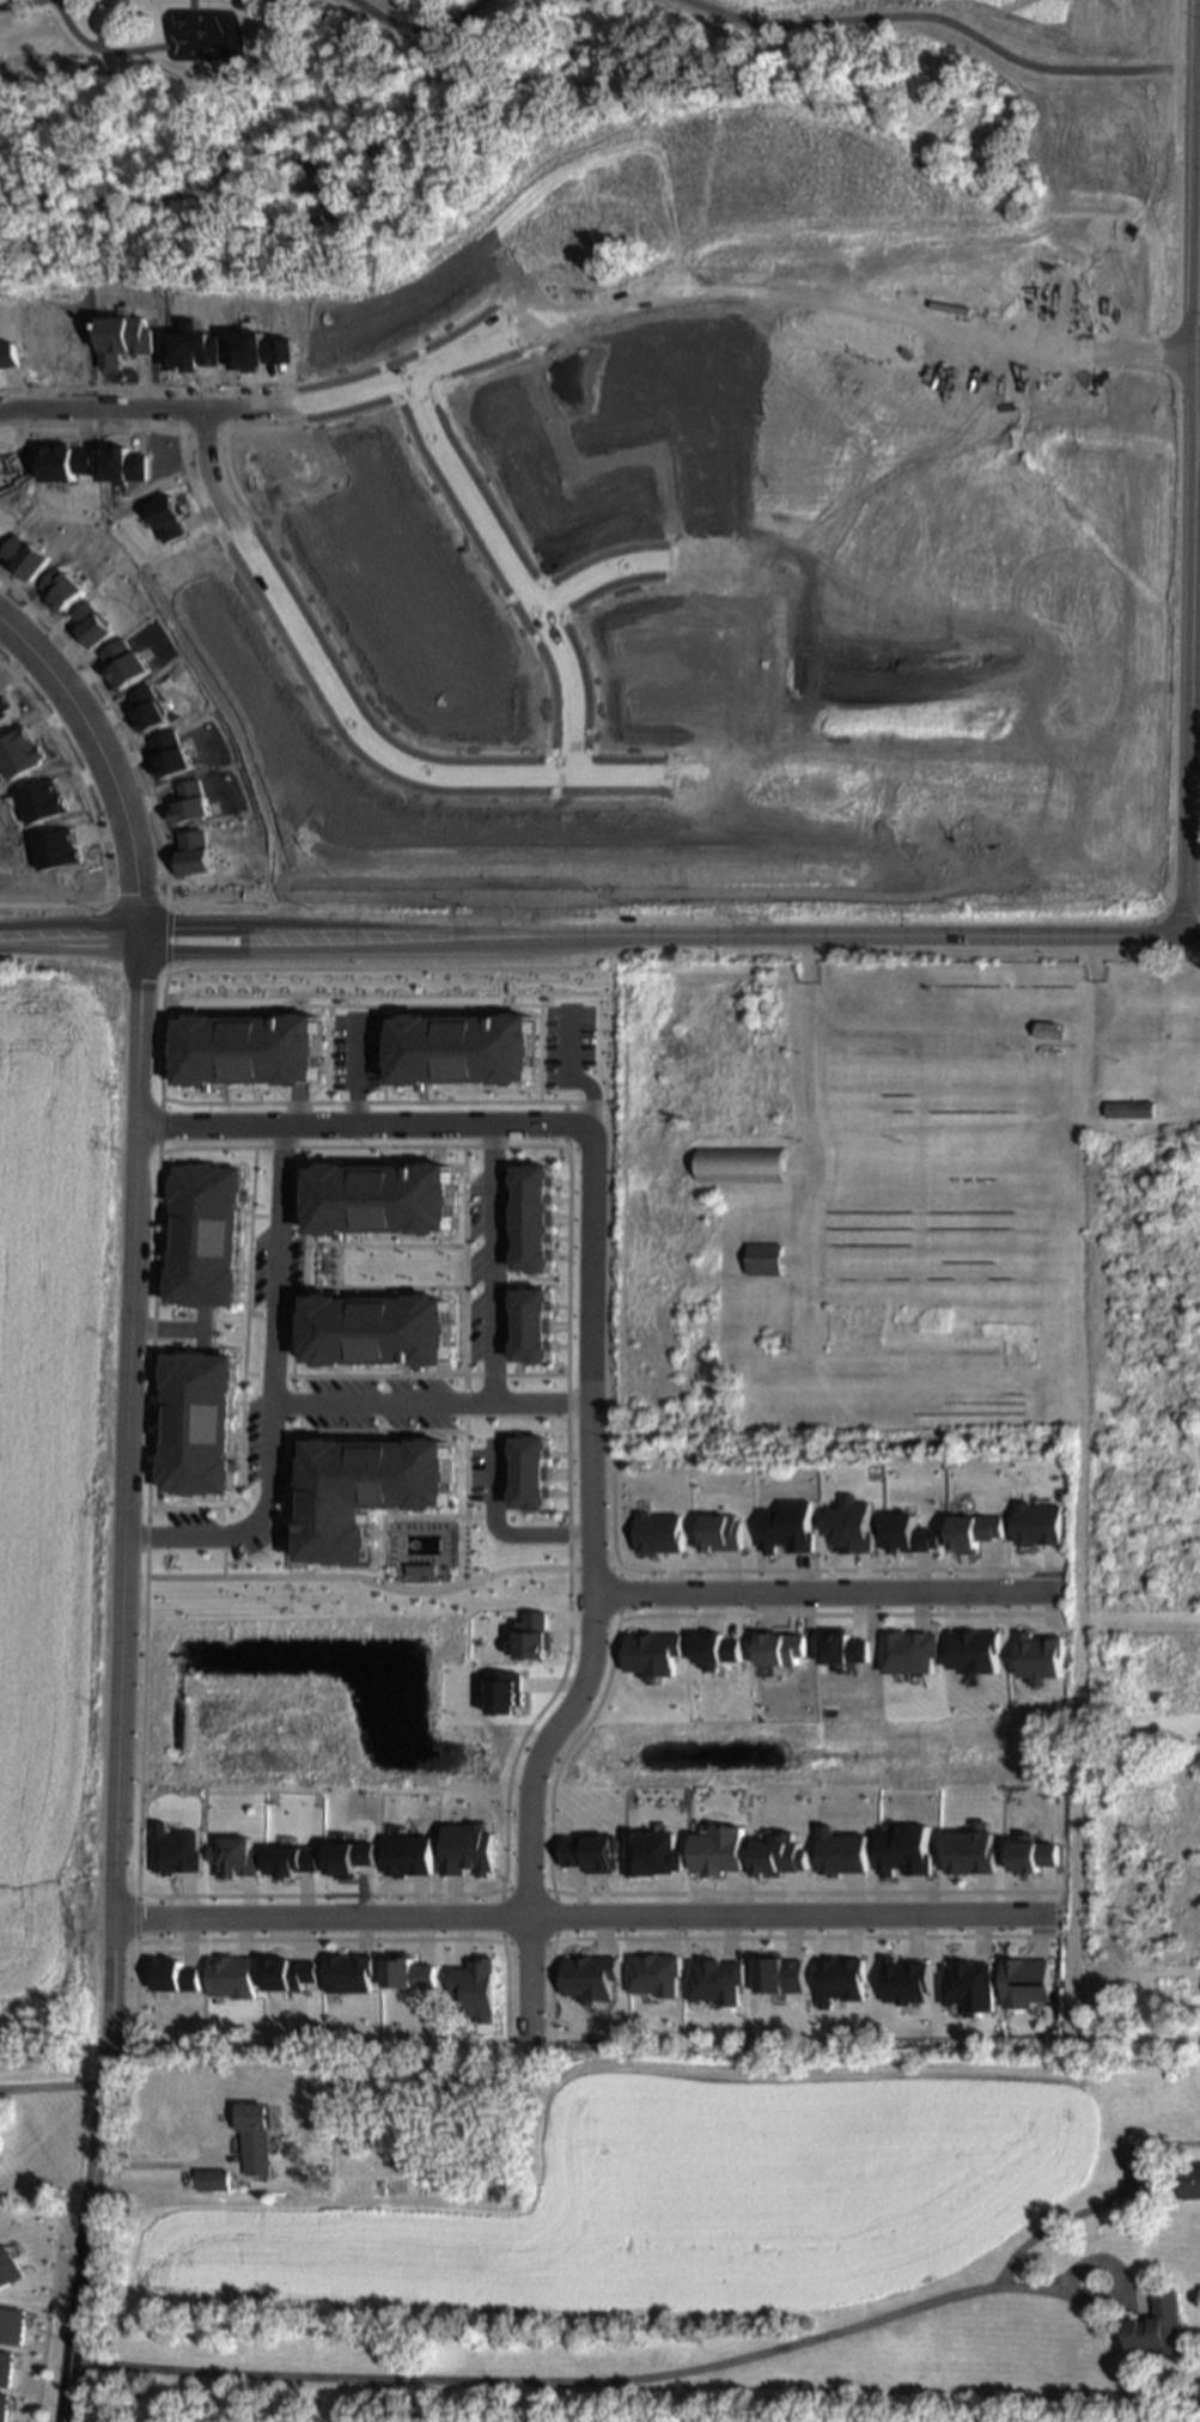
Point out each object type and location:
road: (14, 4)
road: (193, 6)
building: (105, 19)
road: (419, 22)
road: (940, 23)
road: (104, 42)
road: (96, 48)
park: (538, 97)
road: (1172, 154)
road: (721, 217)
road: (723, 291)
road: (1183, 310)
road: (1188, 310)
building: (123, 339)
building: (193, 349)
building: (258, 349)
road: (1077, 352)
road: (252, 409)
building: (62, 461)
building: (118, 463)
building: (169, 517)
building: (24, 556)
road: (633, 564)
road: (511, 571)
building: (59, 588)
road: (1196, 605)
building: (91, 623)
building: (123, 663)
building: (4, 706)
building: (146, 707)
road: (348, 716)
building: (19, 753)
building: (167, 754)
road: (104, 763)
road: (1190, 775)
building: (42, 802)
building: (188, 802)
building: (55, 848)
building: (193, 852)
road: (1067, 933)
road: (467, 937)
building: (1047, 1028)
building: (391, 1036)
building: (461, 1046)
building: (248, 1048)
building: (1126, 1052)
building: (1131, 1107)
road: (363, 1124)
building: (741, 1163)
building: (379, 1193)
building: (532, 1215)
building: (206, 1233)
road: (591, 1256)
building: (765, 1256)
road: (491, 1264)
building: (531, 1322)
building: (377, 1325)
building: (925, 1356)
road: (273, 1388)
road: (433, 1404)
building: (197, 1420)
building: (530, 1469)
parking lot: (489, 1471)
road: (128, 1479)
building: (366, 1486)
building: (1036, 1523)
building: (847, 1525)
building: (784, 1527)
building: (970, 1531)
building: (654, 1532)
building: (717, 1532)
building: (906, 1534)
road: (827, 1592)
building: (256, 1598)
building: (531, 1636)
building: (841, 1647)
building: (714, 1648)
building: (779, 1648)
building: (906, 1651)
building: (973, 1651)
building: (650, 1654)
building: (1038, 1656)
building: (501, 1693)
road: (559, 1710)
building: (465, 1849)
building: (172, 1850)
building: (714, 1850)
building: (901, 1850)
building: (589, 1851)
building: (837, 1851)
building: (967, 1851)
building: (650, 1852)
building: (1029, 1854)
building: (776, 1855)
building: (407, 1856)
building: (232, 1857)
building: (346, 1857)
building: (291, 1860)
road: (580, 1913)
building: (406, 1971)
building: (286, 1972)
building: (346, 1972)
building: (651, 1973)
building: (776, 1973)
building: (170, 1976)
building: (586, 1976)
building: (229, 1977)
building: (901, 1979)
building: (713, 1980)
building: (836, 1980)
building: (1022, 1982)
building: (963, 1985)
building: (474, 1988)
road: (50, 2087)
building: (254, 2136)
road: (159, 2165)
building: (211, 2177)
building: (1189, 2179)
road: (87, 2221)
building: (1158, 2324)
road: (646, 2378)

